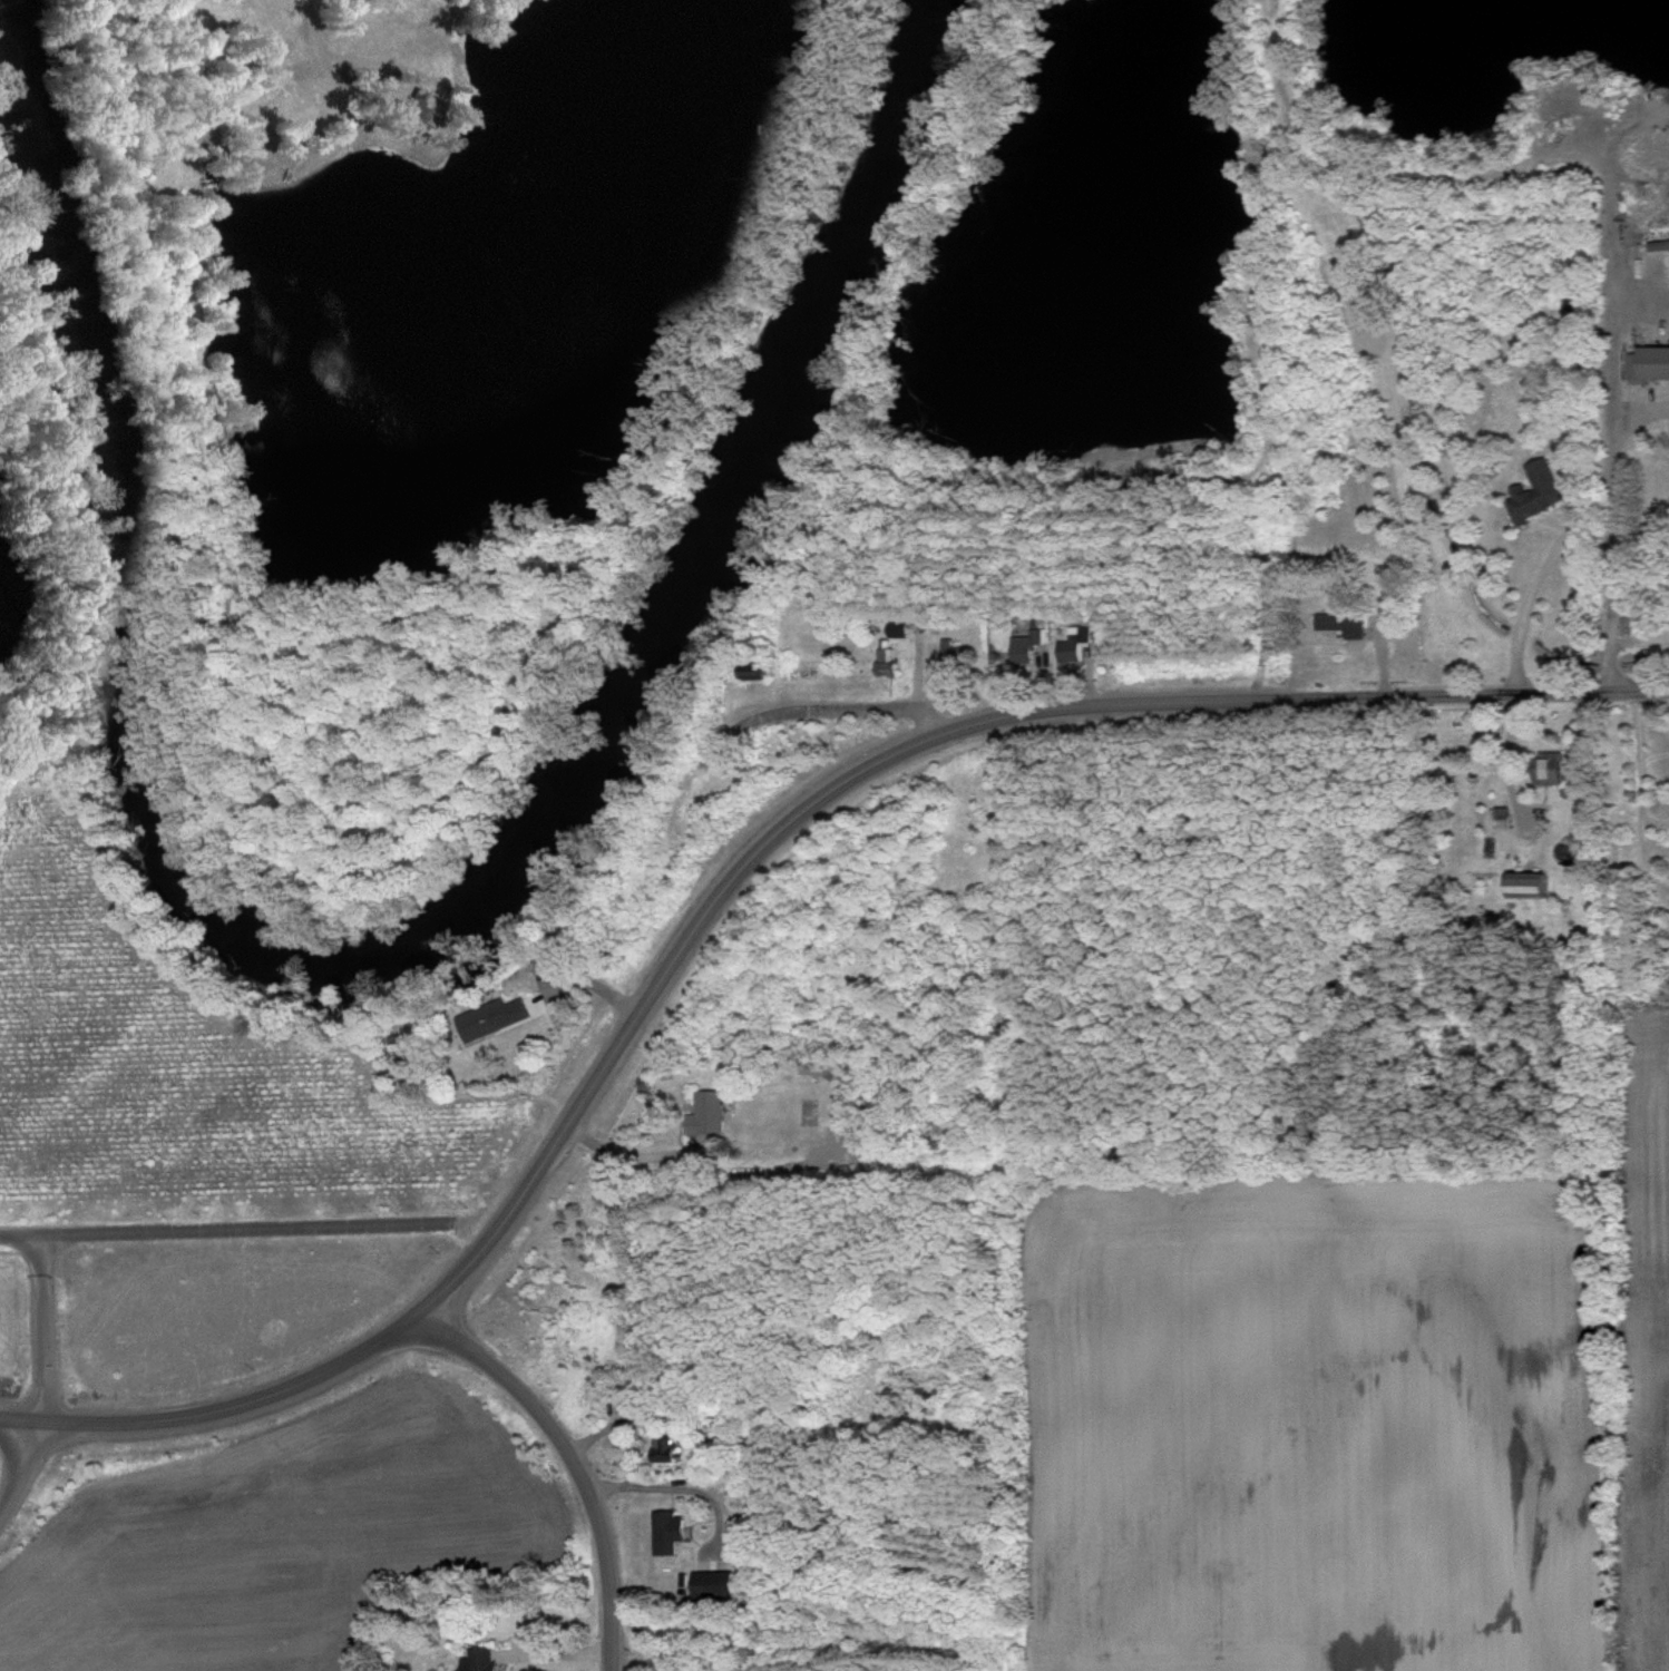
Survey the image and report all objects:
building: (402, 105)
building: (1658, 243)
road: (1655, 294)
building: (1648, 362)
building: (1533, 491)
road: (1562, 536)
building: (1340, 622)
building: (897, 627)
road: (1617, 642)
building: (1074, 643)
building: (1027, 646)
building: (951, 652)
building: (885, 655)
road: (855, 706)
road: (1633, 751)
building: (1545, 768)
road: (1650, 815)
road: (1640, 839)
road: (738, 879)
building: (1521, 883)
river: (466, 938)
road: (589, 986)
building: (489, 1017)
building: (704, 1113)
road: (21, 1240)
road: (43, 1384)
building: (662, 1447)
road: (577, 1462)
road: (675, 1487)
building: (666, 1530)
building: (712, 1582)
road: (558, 1654)
building: (478, 1659)

